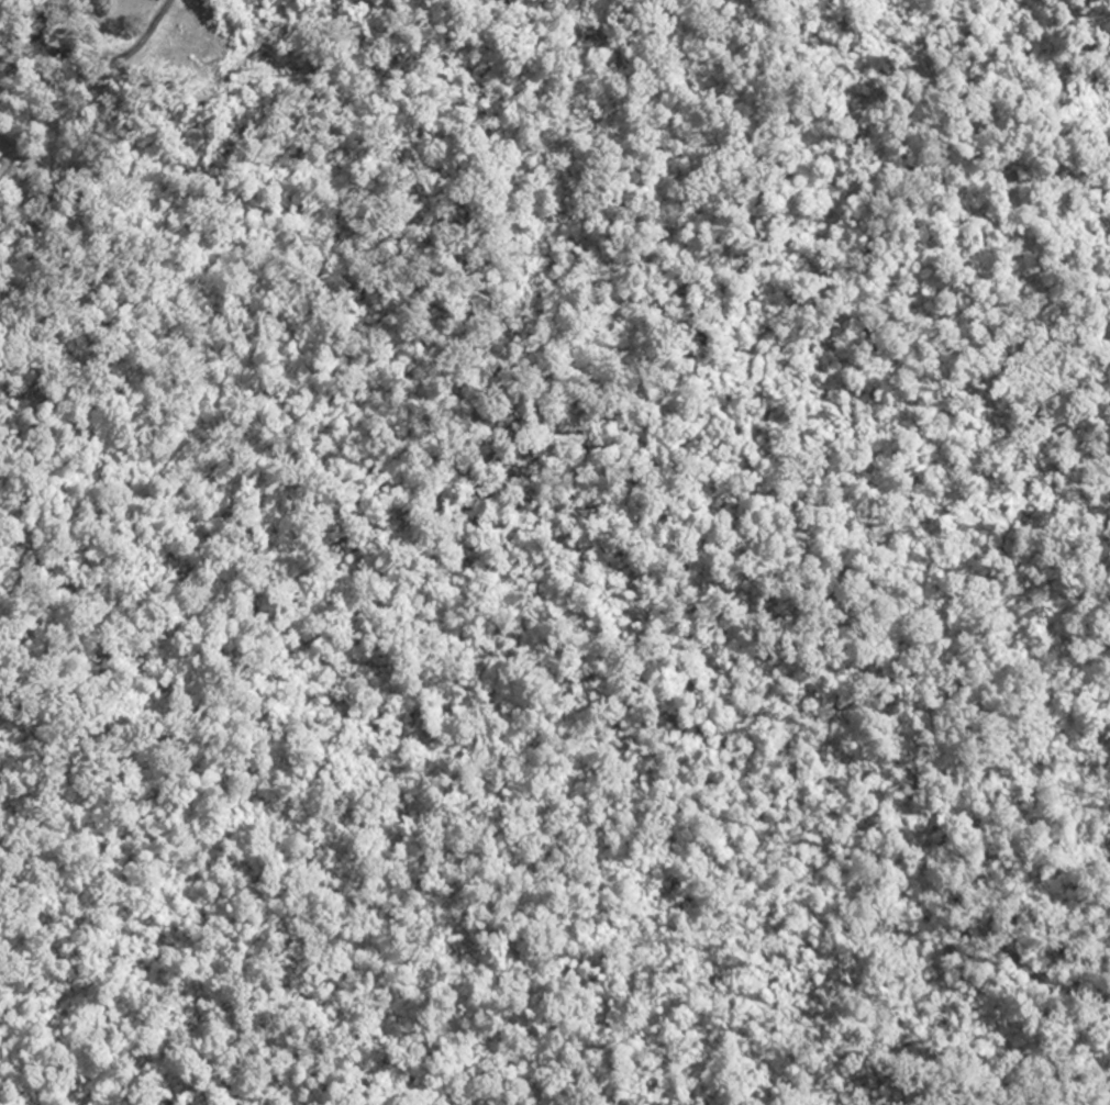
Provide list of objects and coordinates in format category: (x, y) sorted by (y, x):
road: (96, 64)

